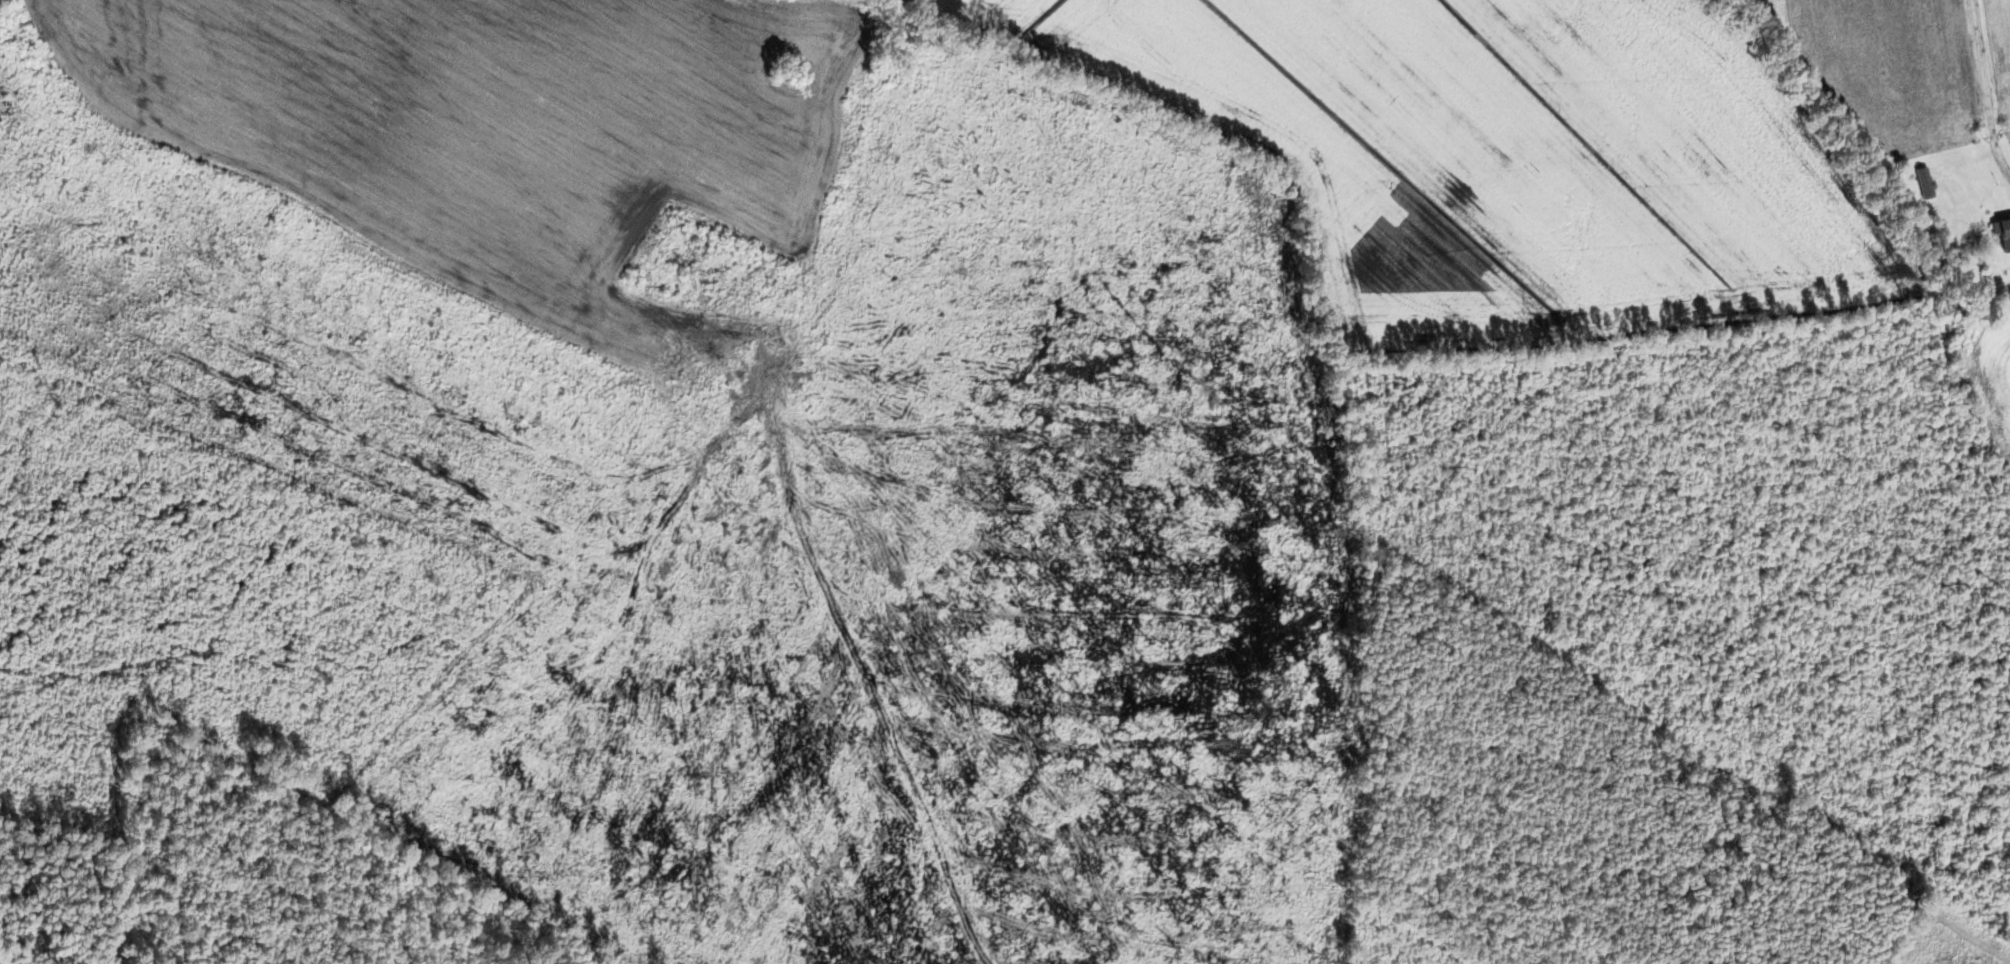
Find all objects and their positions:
road: (1979, 51)
building: (2002, 228)

